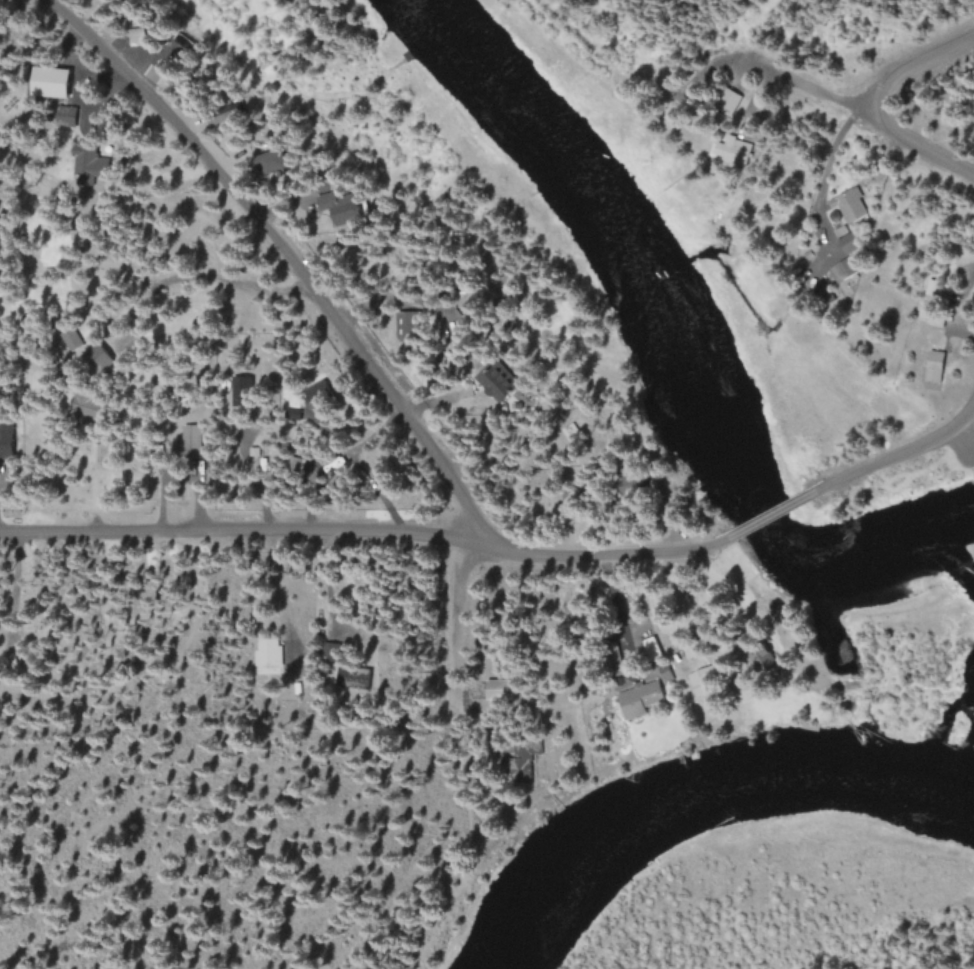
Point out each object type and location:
building: (137, 32)
road: (916, 66)
building: (52, 81)
building: (730, 98)
road: (865, 107)
building: (66, 115)
building: (736, 150)
building: (275, 160)
building: (85, 161)
building: (848, 204)
road: (286, 245)
building: (841, 270)
river: (680, 345)
building: (934, 366)
building: (500, 382)
building: (7, 439)
building: (191, 441)
road: (894, 457)
road: (773, 517)
road: (370, 532)
road: (469, 630)
building: (688, 649)
building: (268, 651)
building: (699, 682)
building: (498, 689)
building: (639, 698)
building: (524, 758)
river: (696, 792)
road: (441, 853)

